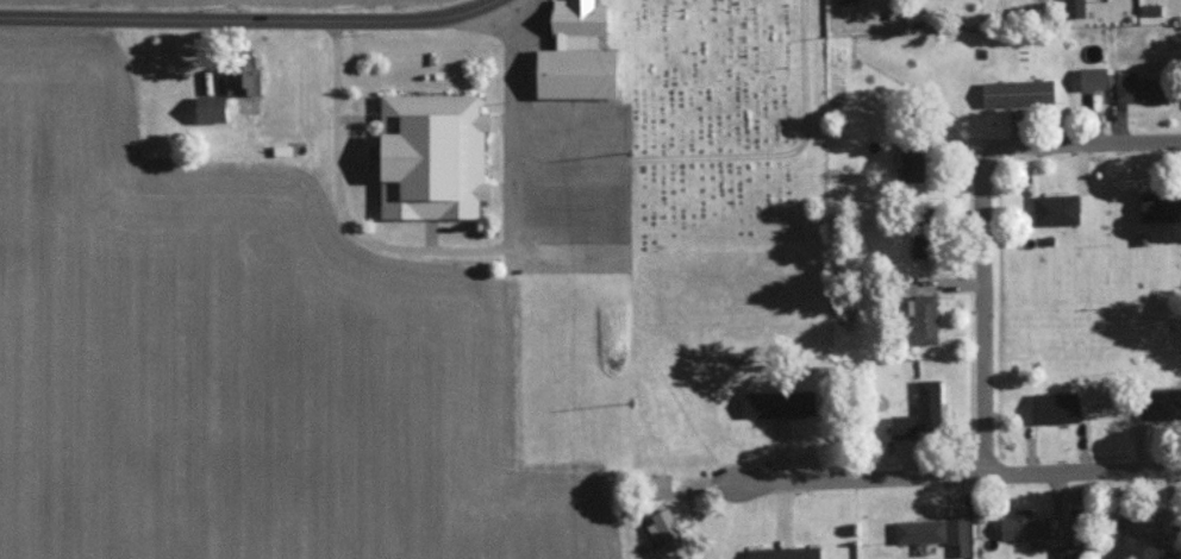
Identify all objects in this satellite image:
building: (851, 1)
building: (1076, 7)
road: (251, 19)
building: (580, 52)
building: (245, 73)
building: (1096, 76)
building: (1142, 86)
building: (1020, 90)
building: (213, 106)
road: (968, 140)
road: (1087, 143)
road: (731, 150)
building: (435, 155)
building: (916, 159)
building: (1160, 203)
building: (1058, 207)
building: (925, 240)
road: (443, 245)
road: (983, 310)
building: (926, 315)
building: (781, 401)
building: (1163, 402)
building: (1060, 406)
building: (923, 413)
road: (957, 475)
building: (663, 485)
building: (1150, 522)
building: (670, 527)
building: (1031, 528)
building: (923, 529)
building: (962, 533)
building: (787, 552)
building: (1070, 552)

